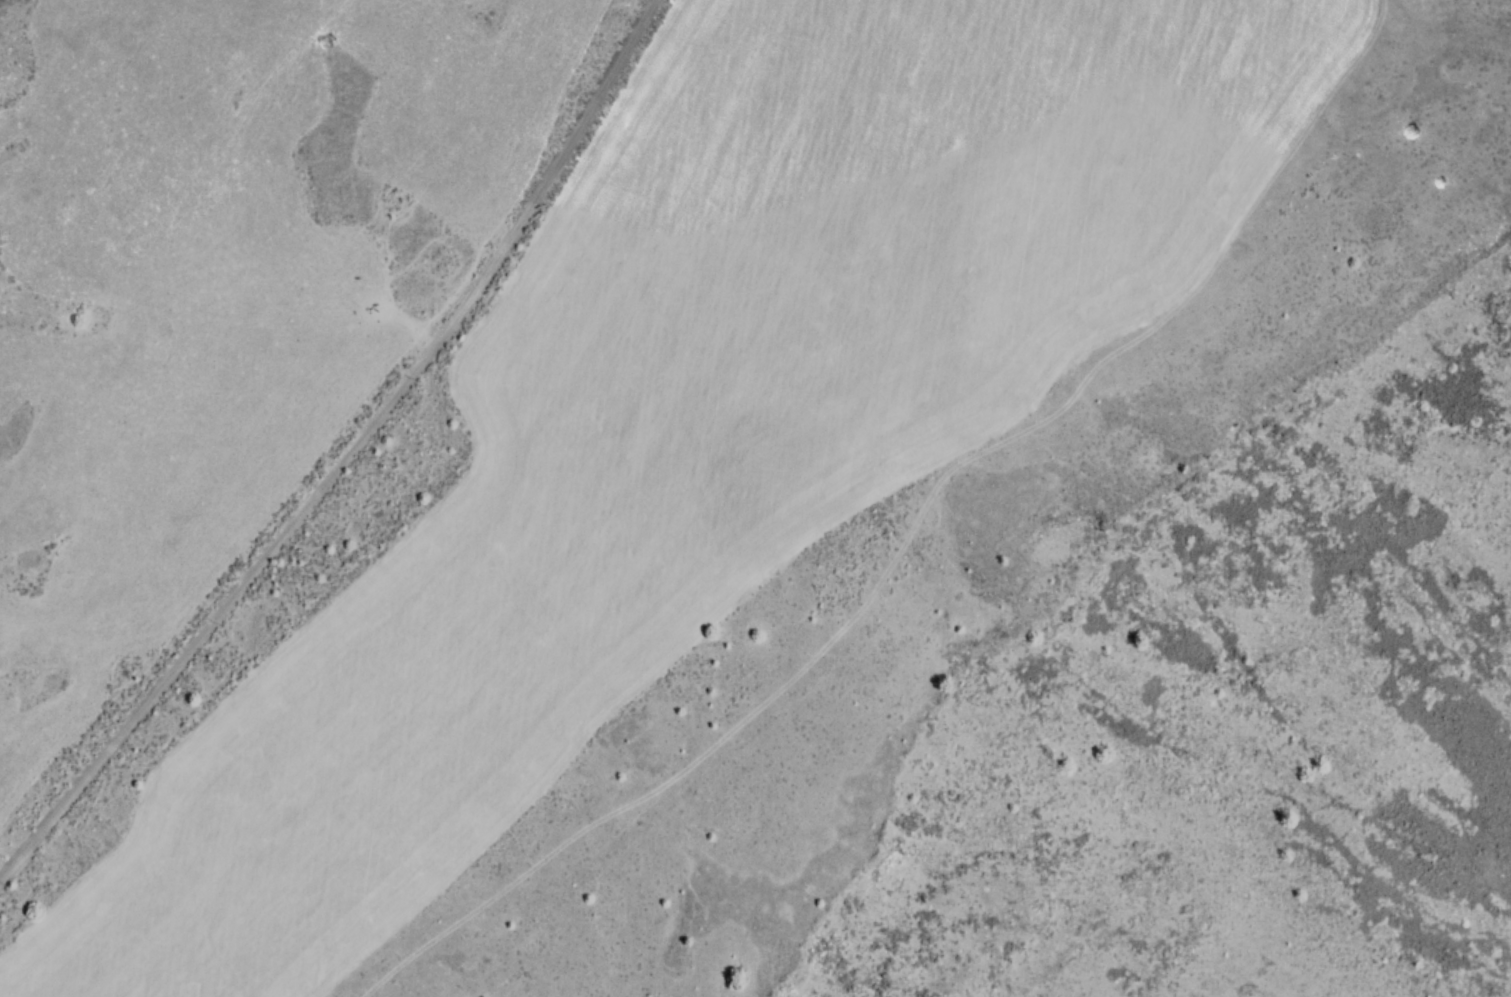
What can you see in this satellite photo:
road: (343, 454)

